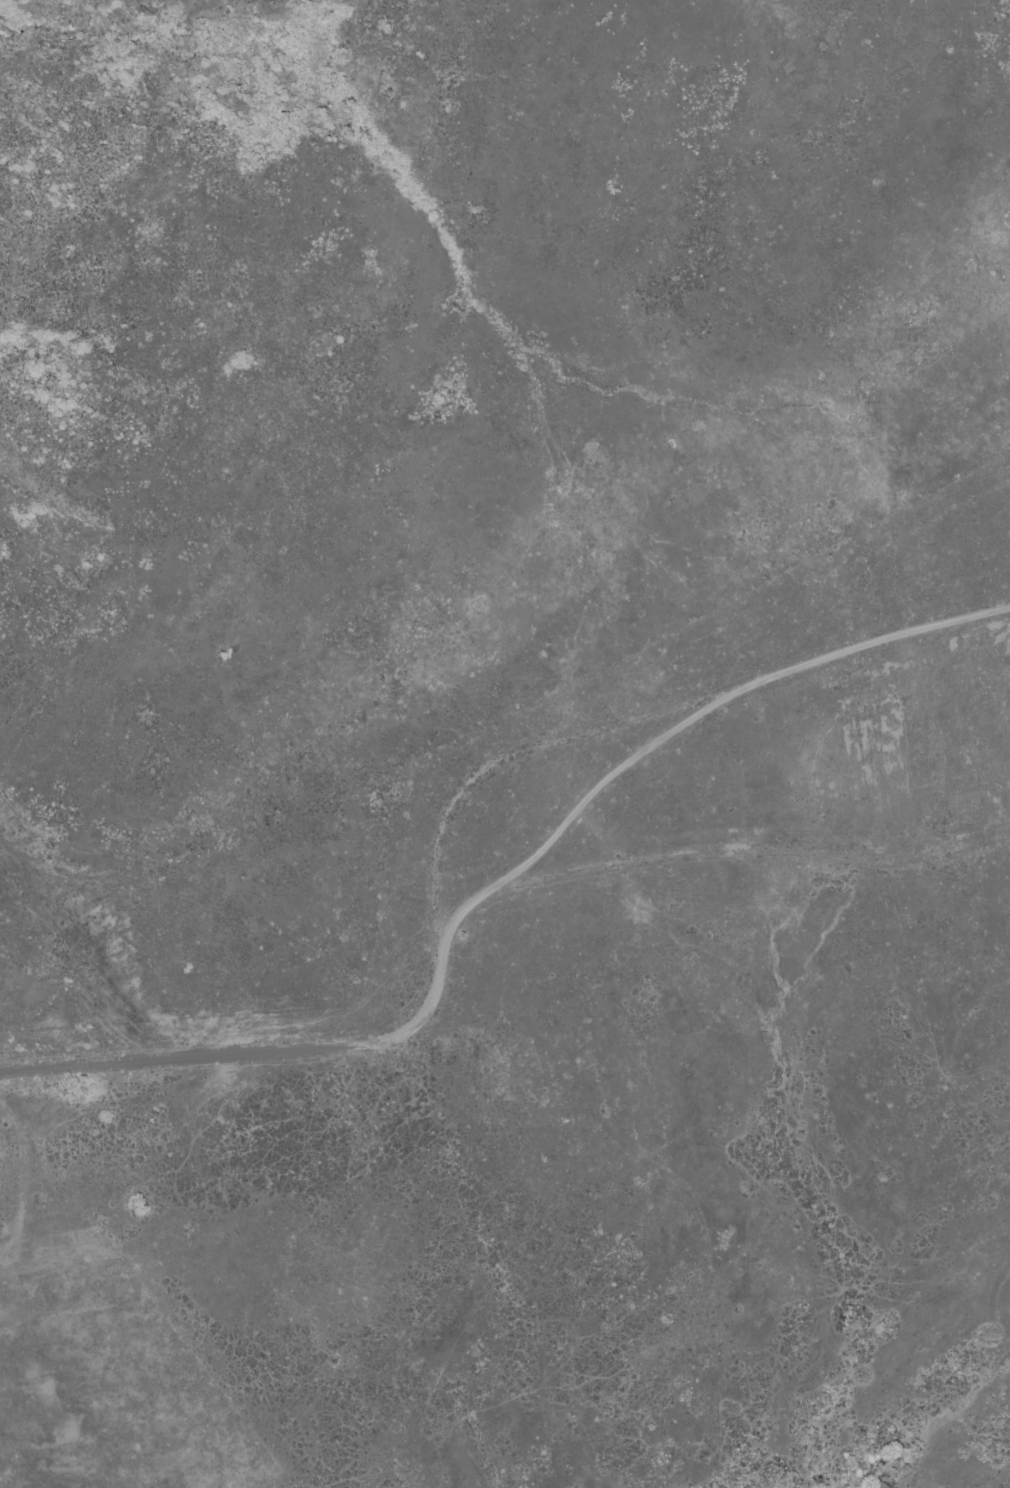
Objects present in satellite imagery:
road: (636, 758)
road: (189, 1059)

